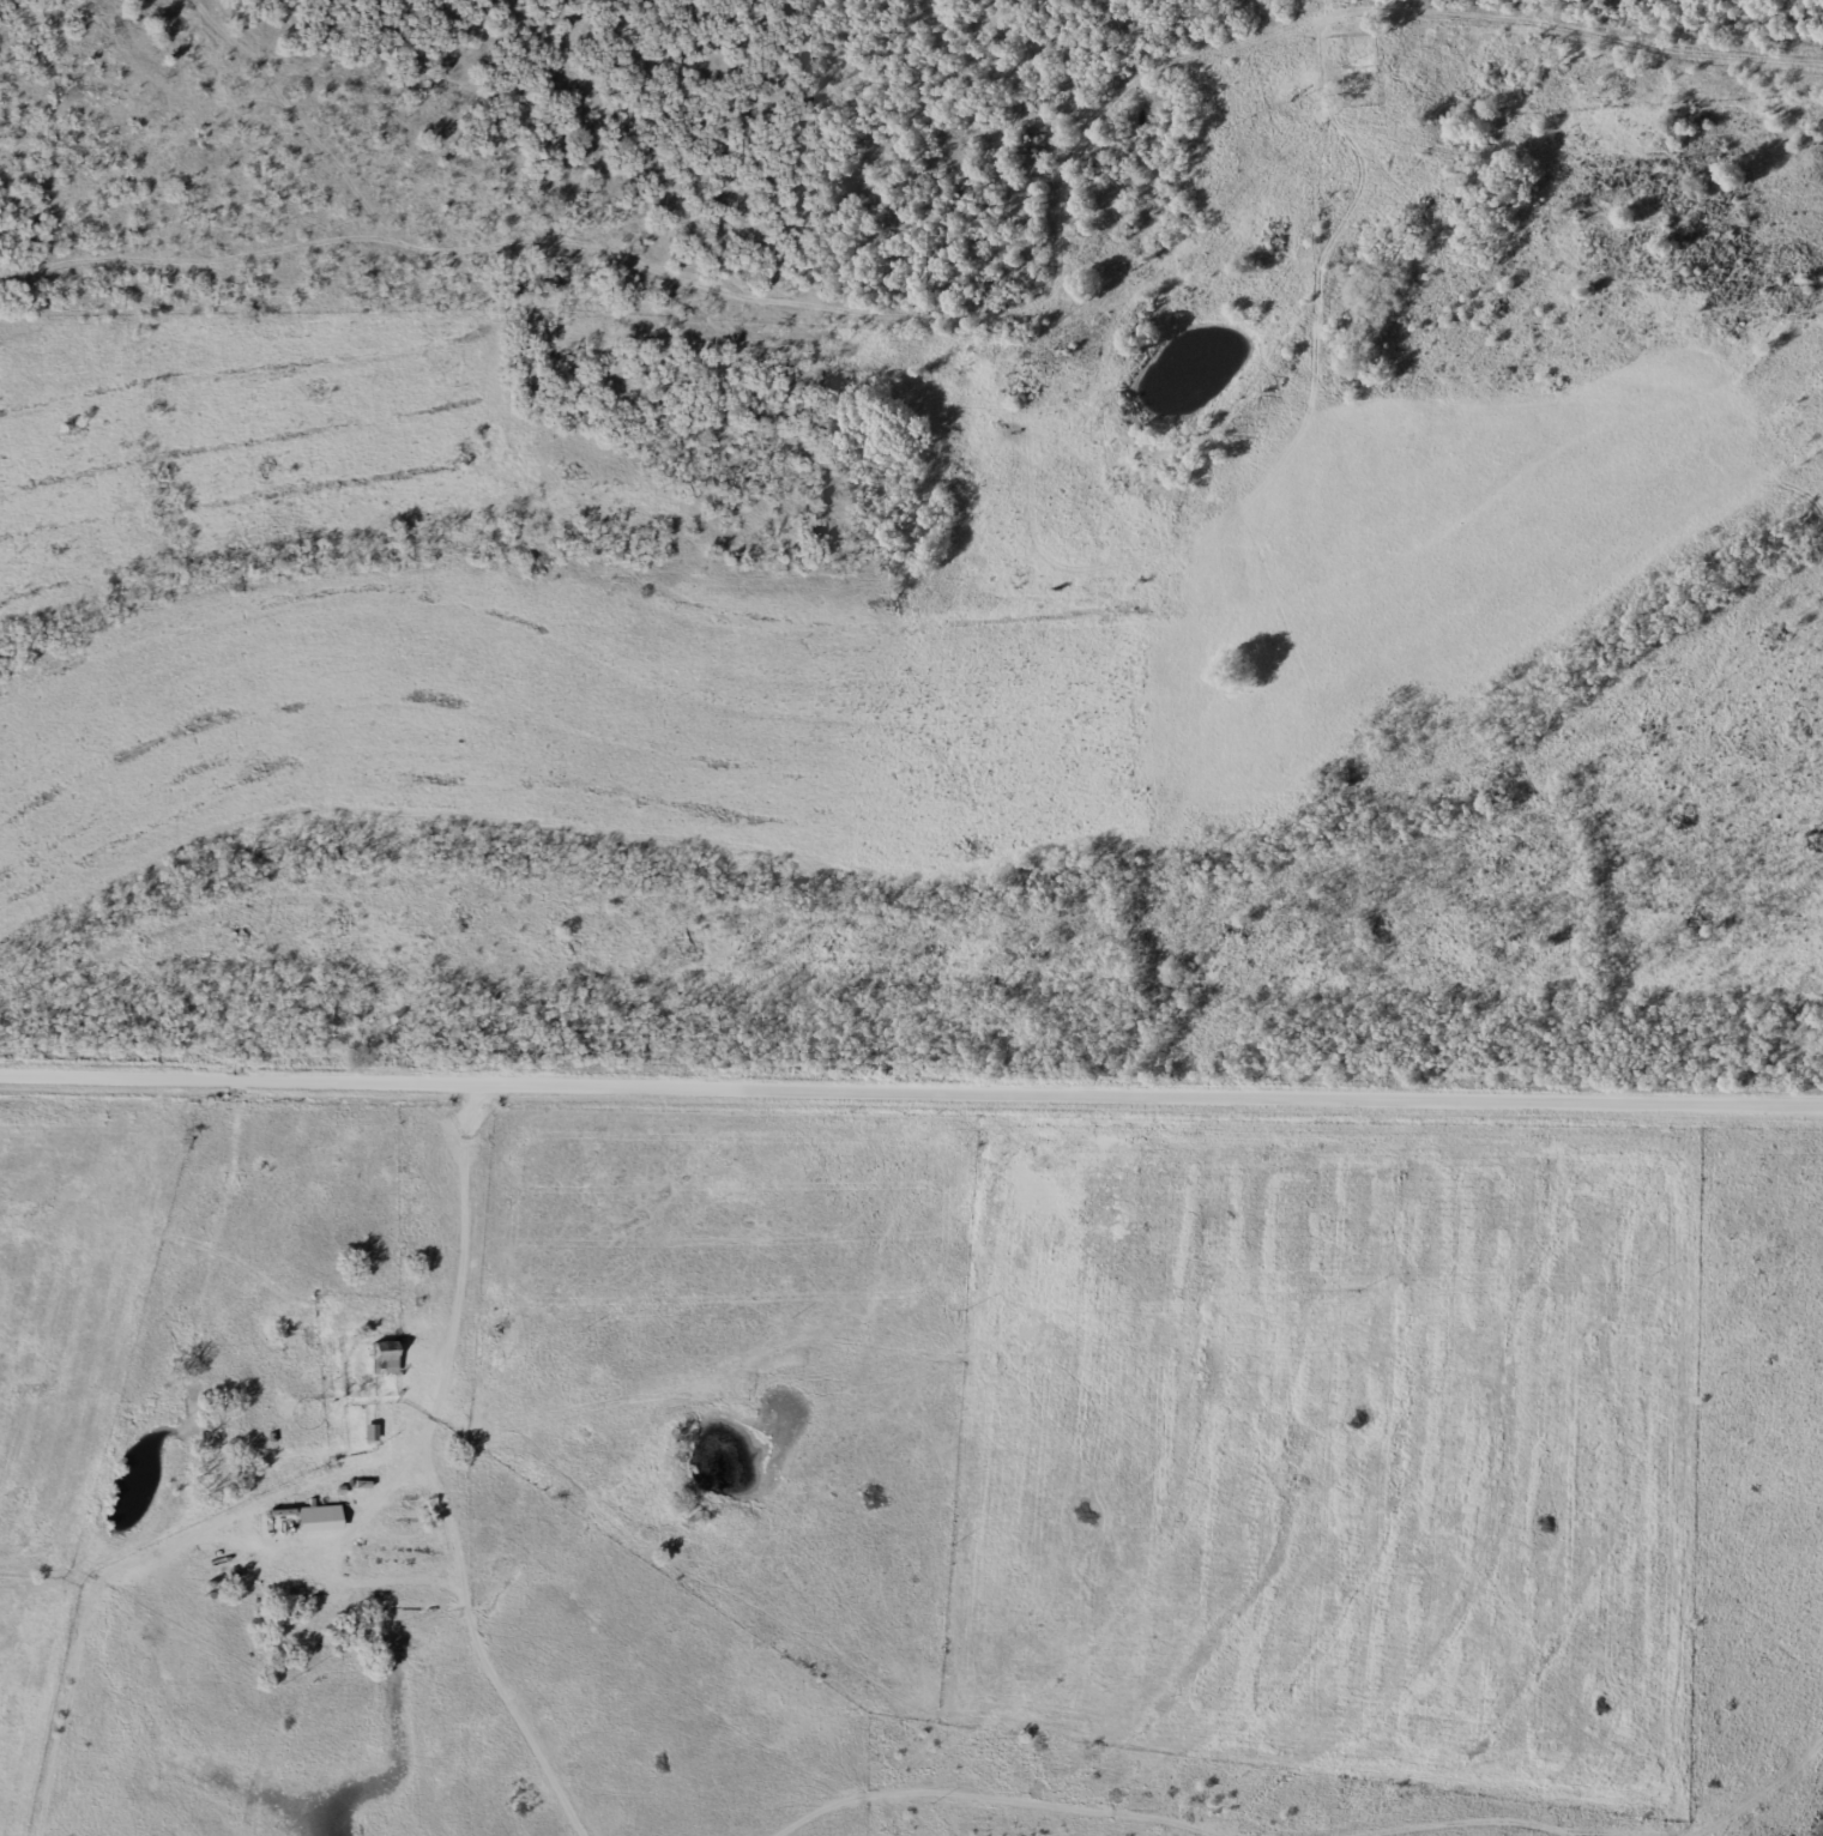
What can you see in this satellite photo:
building: (1359, 70)
road: (1648, 254)
road: (911, 1088)
building: (385, 1357)
road: (1022, 1443)
building: (319, 1518)

